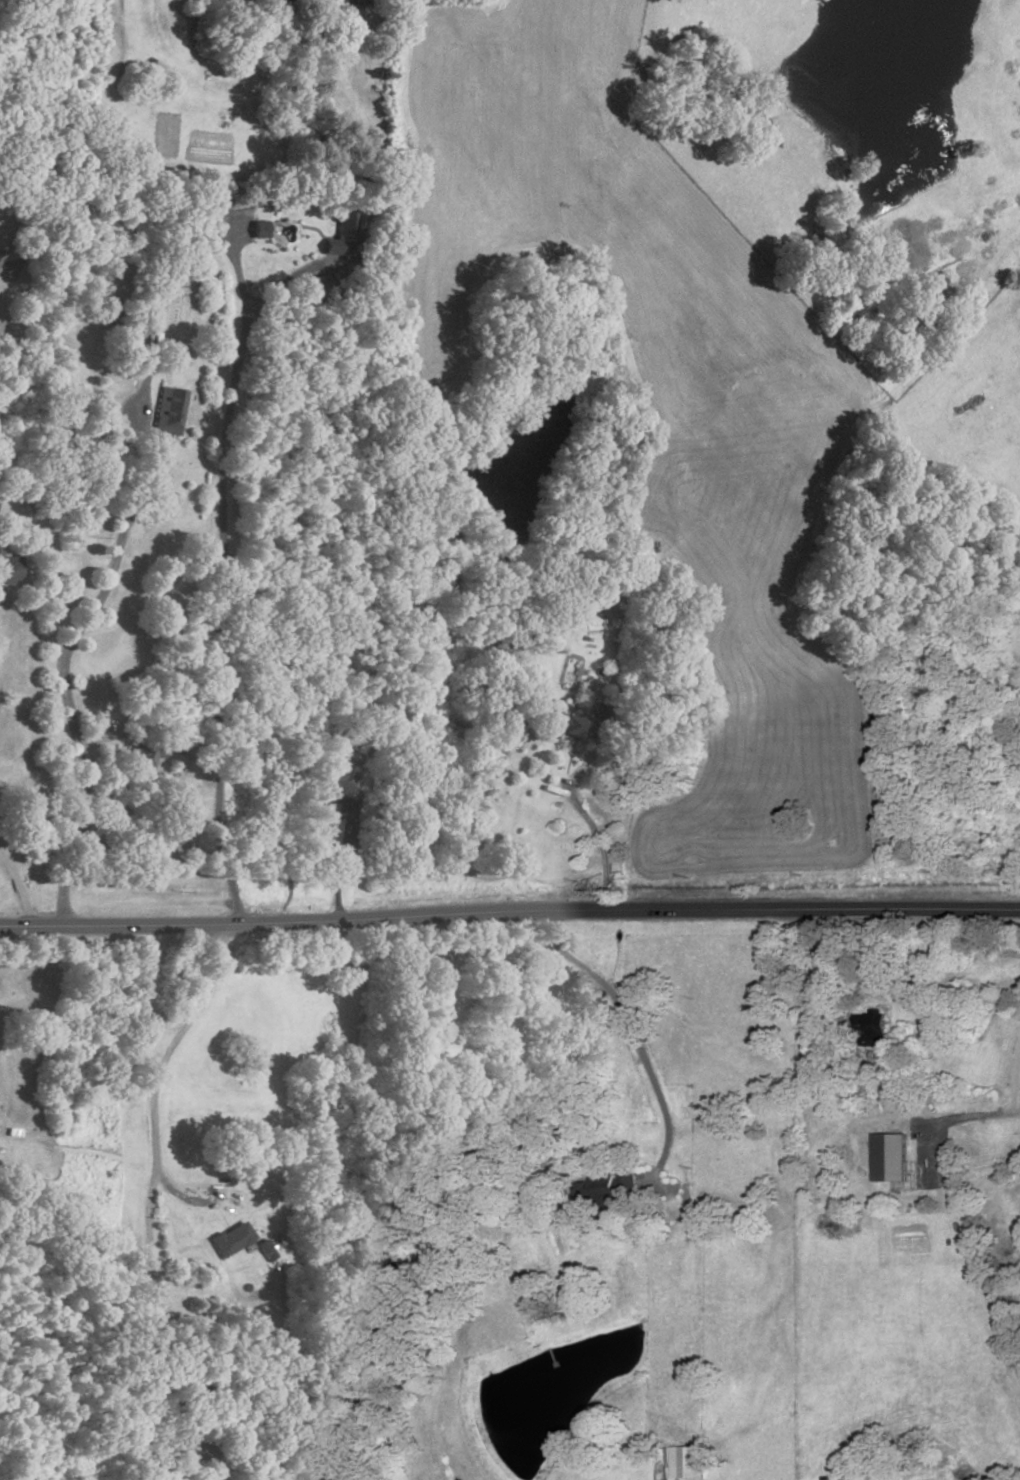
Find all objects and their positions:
building: (344, 225)
building: (257, 228)
building: (1, 254)
building: (2, 260)
building: (315, 284)
road: (9, 287)
building: (105, 307)
building: (130, 340)
building: (167, 412)
road: (222, 564)
building: (7, 571)
road: (60, 663)
building: (601, 714)
building: (563, 726)
road: (102, 738)
building: (144, 754)
building: (338, 806)
road: (587, 816)
road: (340, 872)
road: (19, 886)
road: (509, 912)
building: (877, 1027)
road: (634, 1037)
road: (1017, 1092)
road: (968, 1113)
building: (892, 1156)
building: (604, 1190)
road: (147, 1195)
building: (229, 1240)
building: (265, 1249)
pier: (552, 1356)
building: (693, 1462)

